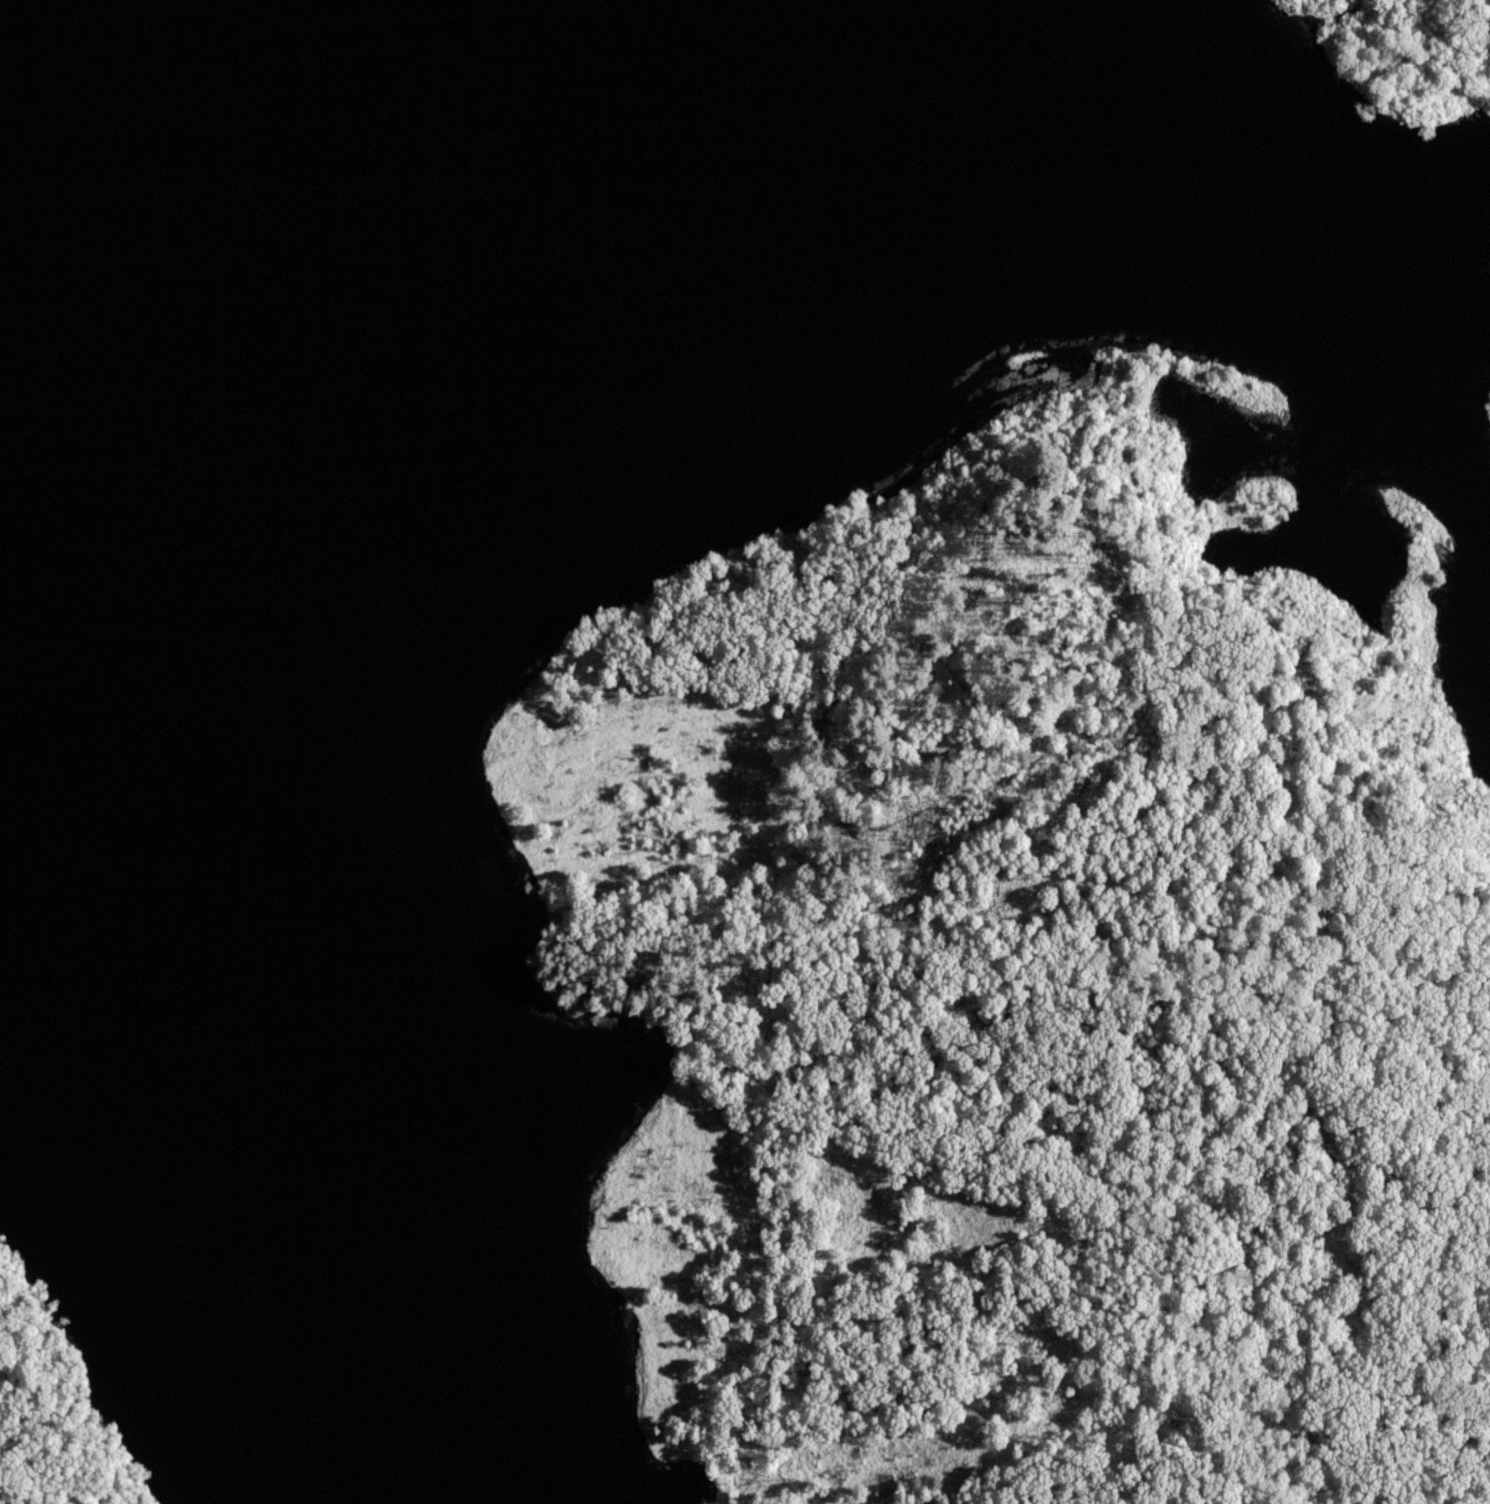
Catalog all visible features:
road: (51, 1473)

